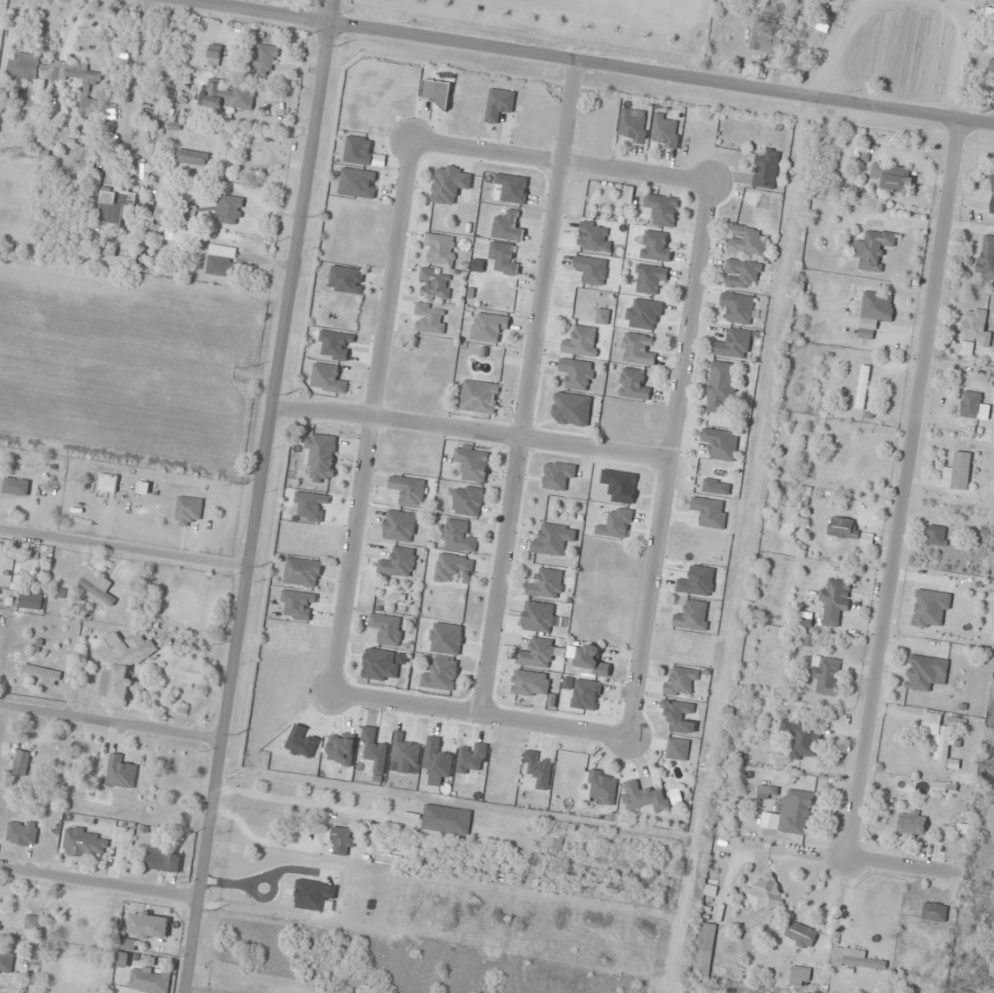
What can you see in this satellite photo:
building: (766, 38)
building: (214, 55)
road: (585, 59)
building: (265, 60)
building: (991, 65)
building: (55, 77)
building: (436, 92)
building: (230, 97)
building: (499, 105)
building: (633, 125)
building: (665, 131)
building: (68, 137)
building: (192, 157)
road: (560, 162)
building: (893, 177)
building: (450, 184)
building: (991, 188)
building: (627, 195)
building: (115, 206)
building: (661, 209)
building: (230, 210)
building: (508, 227)
building: (178, 236)
building: (747, 241)
building: (655, 246)
building: (441, 249)
building: (873, 249)
building: (112, 253)
building: (503, 258)
building: (986, 258)
building: (221, 260)
building: (591, 270)
building: (741, 274)
building: (650, 279)
building: (346, 280)
building: (434, 284)
building: (737, 308)
building: (875, 313)
building: (597, 317)
building: (487, 327)
building: (976, 327)
building: (582, 342)
building: (734, 345)
building: (966, 348)
building: (637, 349)
building: (577, 374)
building: (328, 378)
building: (634, 385)
building: (722, 386)
building: (863, 387)
road: (524, 388)
building: (479, 397)
building: (971, 404)
building: (572, 409)
road: (369, 417)
road: (469, 432)
building: (721, 444)
building: (321, 457)
road: (666, 461)
building: (472, 464)
building: (961, 471)
building: (558, 476)
building: (108, 483)
building: (16, 486)
road: (901, 487)
building: (408, 491)
road: (259, 496)
building: (467, 501)
building: (188, 510)
building: (710, 512)
building: (400, 526)
building: (842, 527)
building: (459, 536)
building: (936, 536)
building: (554, 539)
road: (124, 551)
building: (399, 563)
building: (453, 568)
building: (302, 573)
building: (547, 584)
building: (98, 586)
building: (32, 600)
building: (835, 601)
building: (693, 616)
building: (538, 617)
building: (933, 618)
building: (388, 629)
building: (537, 654)
building: (591, 661)
building: (380, 665)
building: (126, 667)
building: (926, 673)
building: (44, 675)
building: (441, 675)
building: (825, 675)
building: (680, 682)
building: (531, 684)
road: (476, 720)
road: (110, 725)
building: (801, 739)
building: (943, 749)
building: (405, 751)
building: (21, 763)
building: (538, 770)
building: (120, 772)
building: (602, 788)
building: (944, 788)
building: (767, 792)
building: (645, 797)
building: (796, 812)
building: (446, 820)
building: (912, 824)
building: (22, 833)
building: (342, 841)
building: (86, 843)
building: (162, 860)
road: (901, 863)
road: (100, 884)
building: (765, 895)
building: (934, 912)
building: (34, 923)
building: (149, 926)
building: (800, 935)
building: (856, 960)
building: (6, 963)
building: (800, 976)
building: (149, 981)

